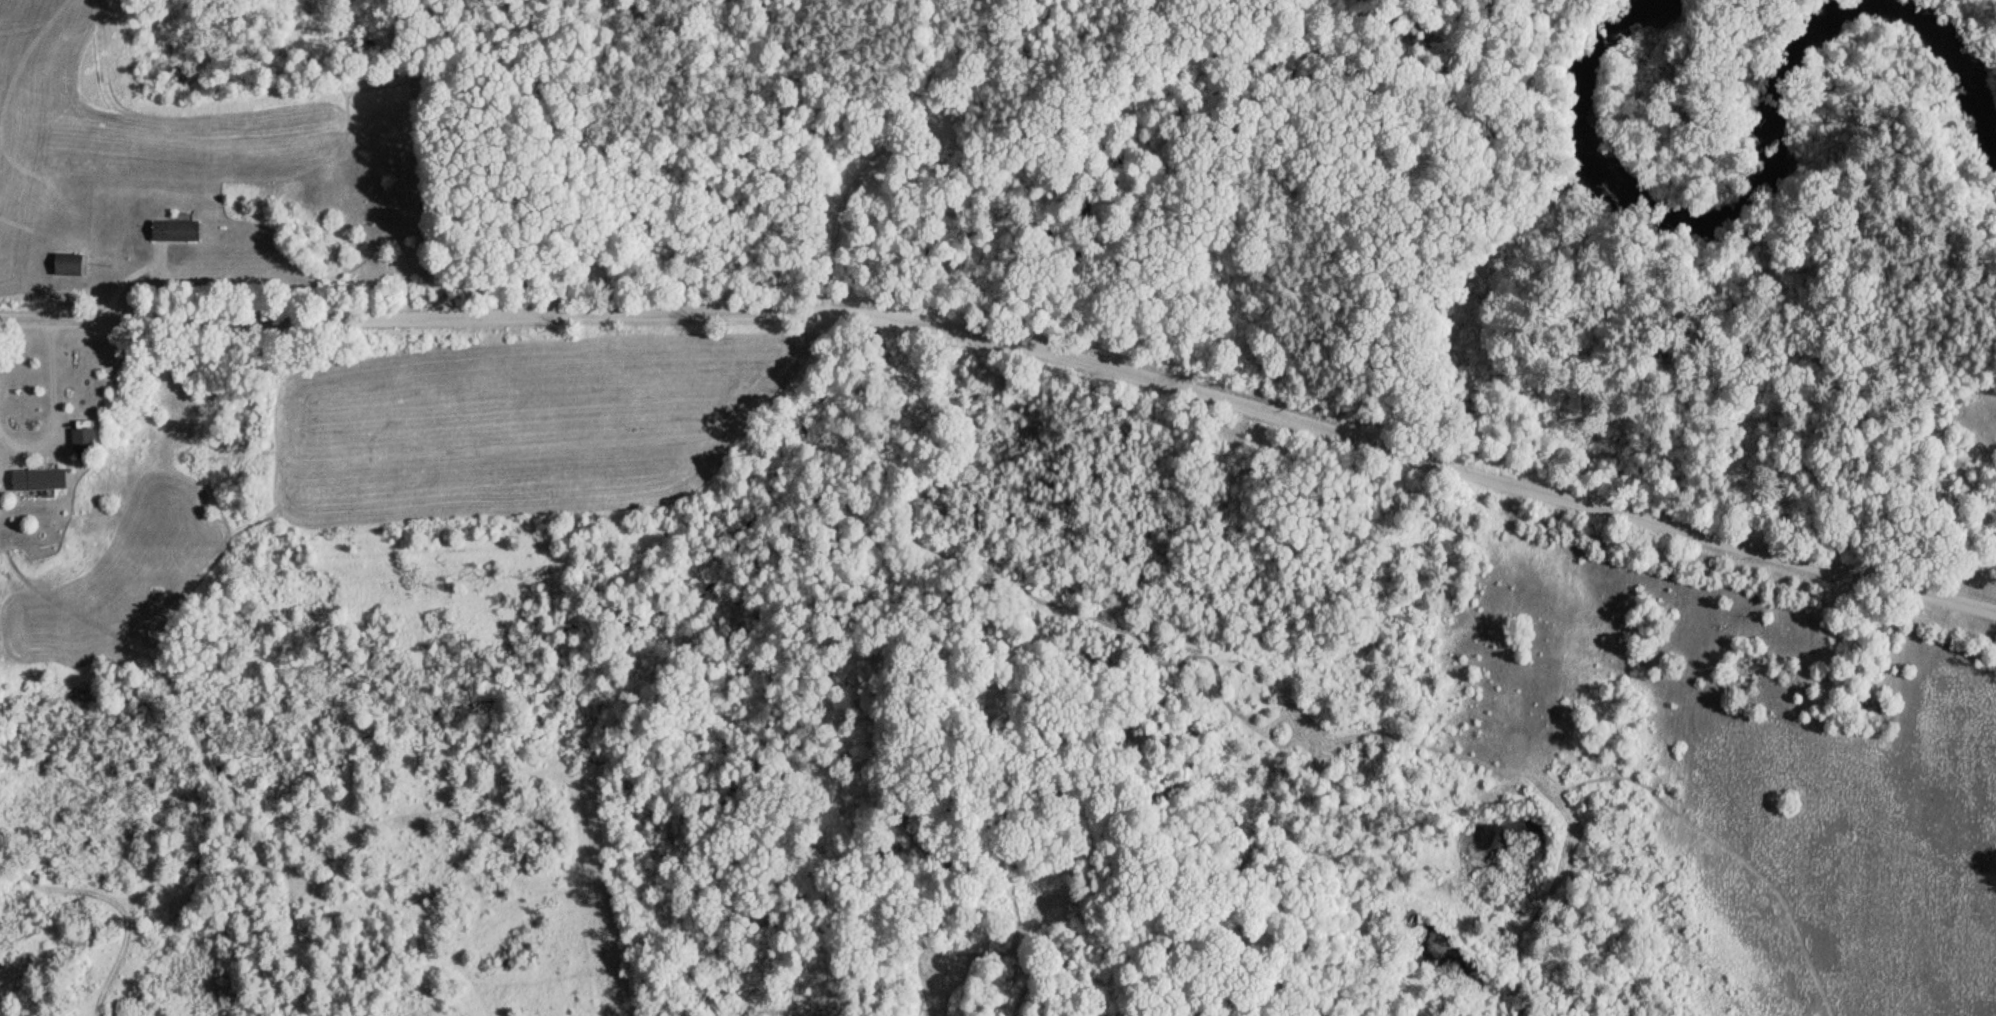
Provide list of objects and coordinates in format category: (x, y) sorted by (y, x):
crop: (105, 122)
river: (1771, 166)
building: (172, 229)
building: (67, 264)
road: (1015, 321)
building: (72, 440)
building: (35, 479)

